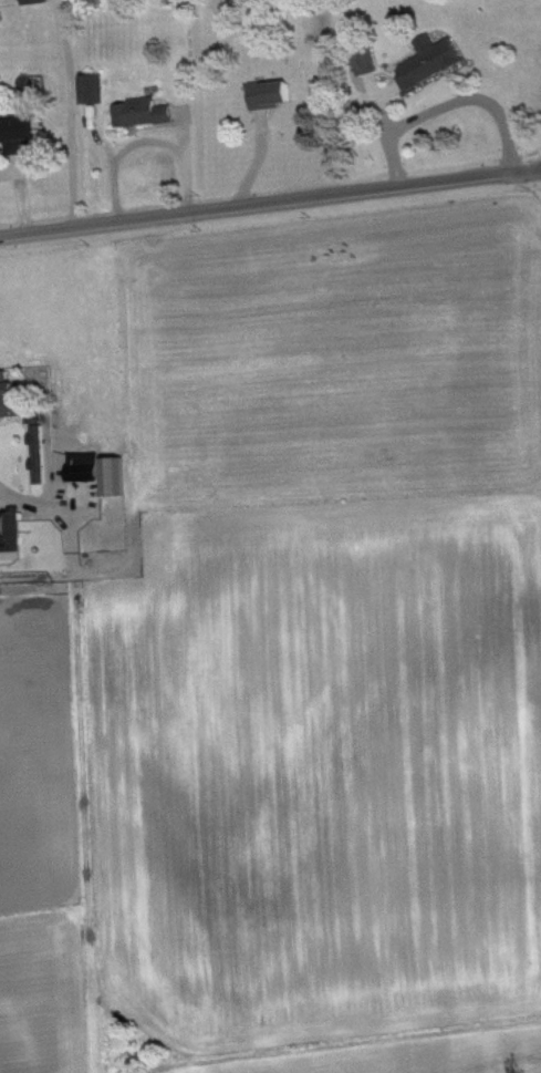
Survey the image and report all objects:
building: (40, 1)
building: (373, 61)
building: (438, 62)
building: (97, 89)
building: (277, 94)
building: (147, 112)
building: (29, 133)
road: (270, 204)
building: (12, 395)
building: (45, 454)
building: (89, 466)
building: (116, 476)
building: (13, 530)

